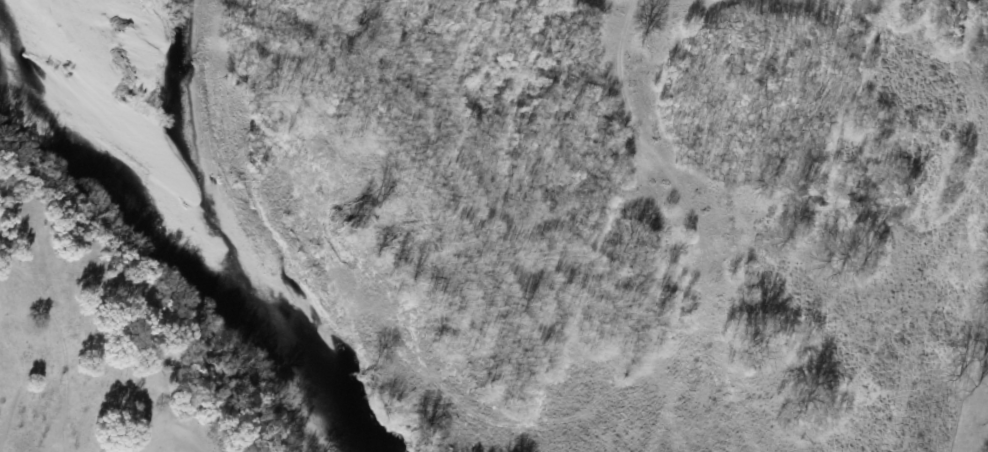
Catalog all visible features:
river: (181, 251)

